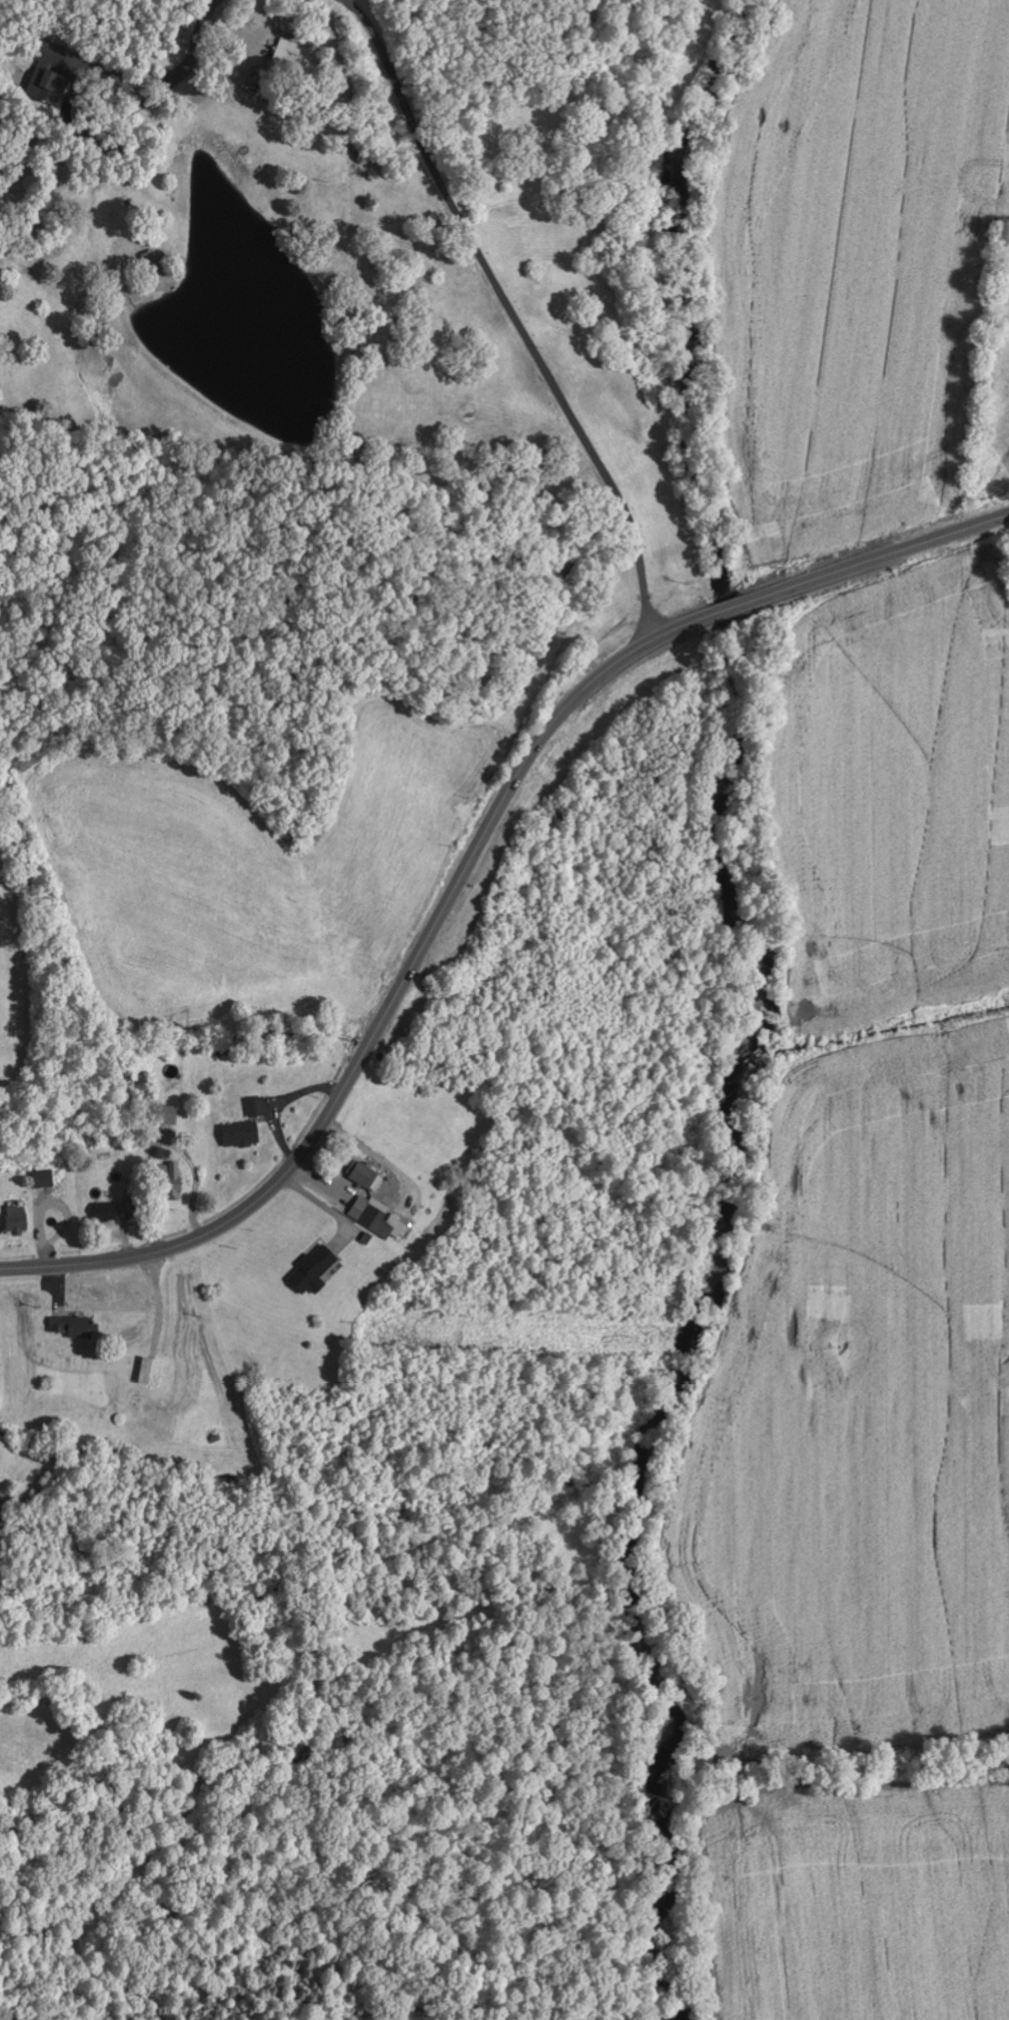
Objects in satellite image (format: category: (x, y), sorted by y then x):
road: (161, 21)
building: (292, 55)
building: (51, 73)
road: (798, 148)
road: (606, 517)
road: (995, 519)
road: (461, 875)
building: (257, 1106)
building: (166, 1115)
building: (242, 1133)
building: (367, 1176)
building: (45, 1178)
building: (173, 1180)
building: (107, 1212)
building: (379, 1217)
building: (18, 1220)
building: (315, 1270)
building: (77, 1326)
road: (52, 1679)

